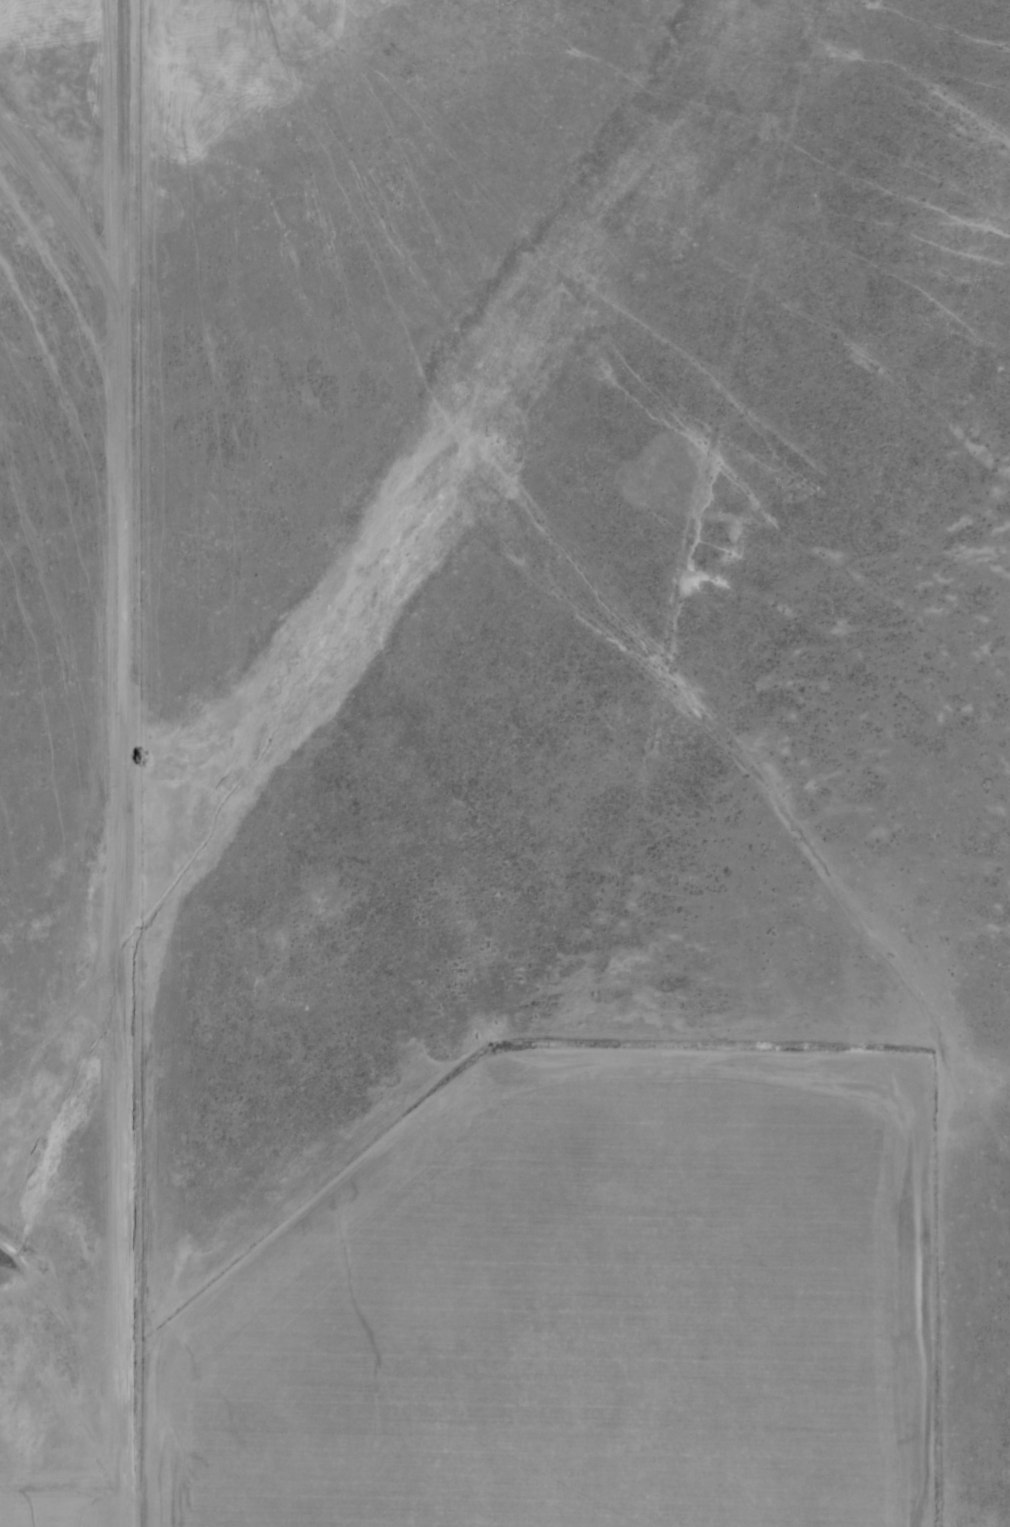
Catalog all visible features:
road: (95, 179)
road: (199, 763)

